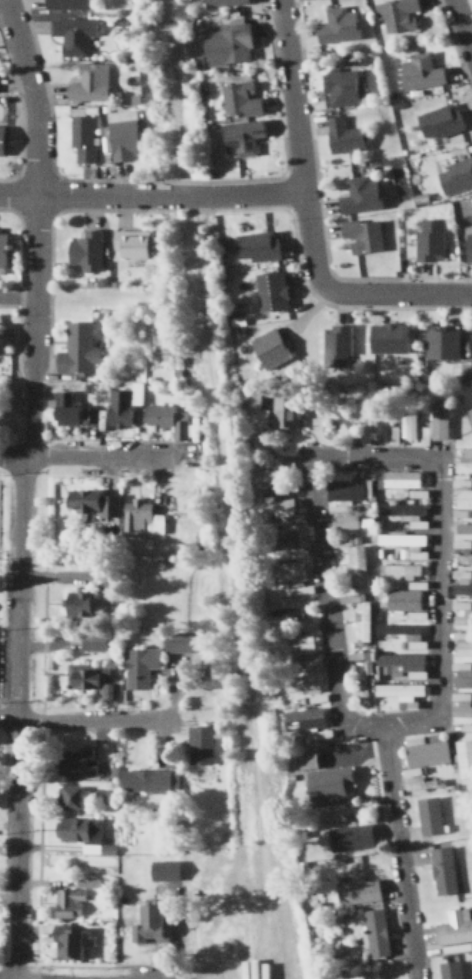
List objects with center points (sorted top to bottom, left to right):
building: (223, 2)
building: (67, 4)
building: (396, 14)
building: (339, 24)
road: (462, 28)
building: (73, 33)
building: (235, 41)
building: (420, 71)
building: (88, 84)
building: (341, 88)
building: (240, 99)
building: (440, 120)
building: (344, 135)
building: (83, 137)
building: (241, 137)
building: (2, 138)
building: (124, 139)
road: (297, 143)
building: (455, 175)
road: (151, 195)
building: (360, 195)
road: (36, 226)
building: (363, 235)
building: (429, 239)
building: (132, 243)
building: (258, 246)
building: (3, 248)
building: (469, 248)
building: (86, 251)
building: (271, 291)
road: (396, 292)
road: (17, 295)
building: (2, 337)
building: (389, 338)
building: (442, 342)
building: (336, 344)
building: (272, 348)
building: (77, 350)
building: (122, 404)
building: (10, 405)
building: (68, 408)
building: (255, 411)
building: (285, 412)
building: (469, 417)
building: (168, 419)
building: (437, 424)
building: (409, 427)
building: (373, 429)
road: (12, 456)
road: (100, 456)
road: (377, 457)
building: (464, 463)
building: (271, 475)
building: (401, 480)
building: (345, 490)
building: (94, 502)
building: (463, 503)
building: (275, 507)
building: (407, 514)
building: (141, 517)
building: (353, 521)
building: (462, 528)
building: (286, 539)
building: (401, 539)
building: (461, 544)
building: (464, 560)
building: (356, 566)
building: (399, 570)
building: (289, 572)
building: (461, 583)
building: (298, 589)
building: (404, 599)
building: (84, 604)
building: (289, 612)
building: (461, 613)
building: (362, 623)
building: (404, 634)
building: (184, 640)
building: (93, 641)
building: (299, 644)
building: (462, 644)
building: (356, 654)
building: (311, 660)
building: (402, 665)
building: (139, 666)
building: (90, 678)
building: (463, 678)
building: (361, 680)
building: (301, 682)
building: (400, 692)
building: (460, 704)
building: (306, 715)
road: (8, 716)
road: (17, 717)
road: (94, 720)
building: (200, 745)
building: (425, 749)
building: (464, 757)
building: (308, 758)
building: (81, 759)
building: (149, 780)
building: (424, 783)
building: (312, 785)
building: (83, 797)
building: (429, 816)
building: (79, 829)
building: (351, 838)
road: (398, 851)
building: (167, 868)
building: (443, 871)
building: (358, 889)
building: (70, 903)
building: (150, 925)
building: (454, 928)
building: (375, 933)
building: (71, 940)
building: (450, 970)

